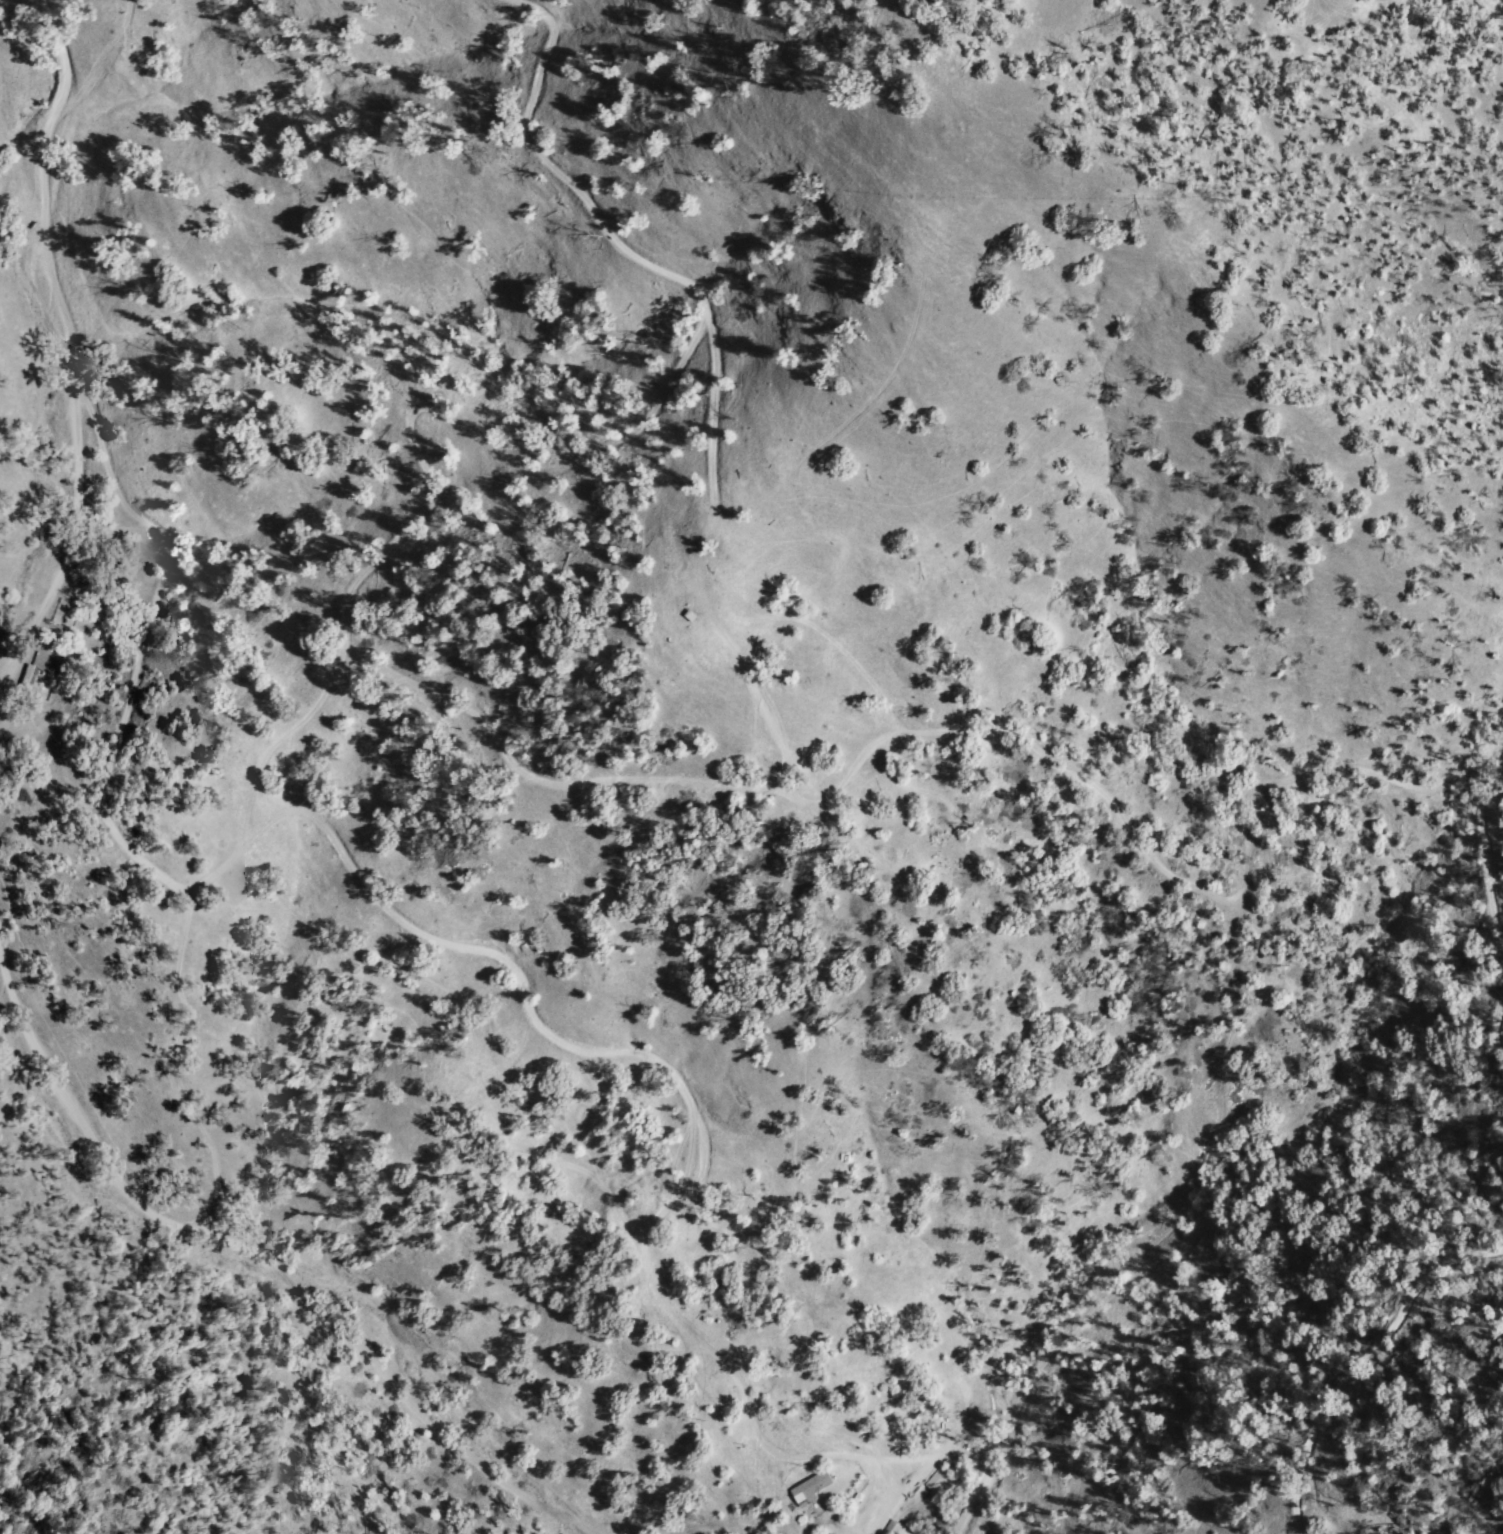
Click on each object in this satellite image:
road: (83, 353)
road: (35, 550)
road: (286, 1263)
building: (937, 1481)
building: (811, 1490)

